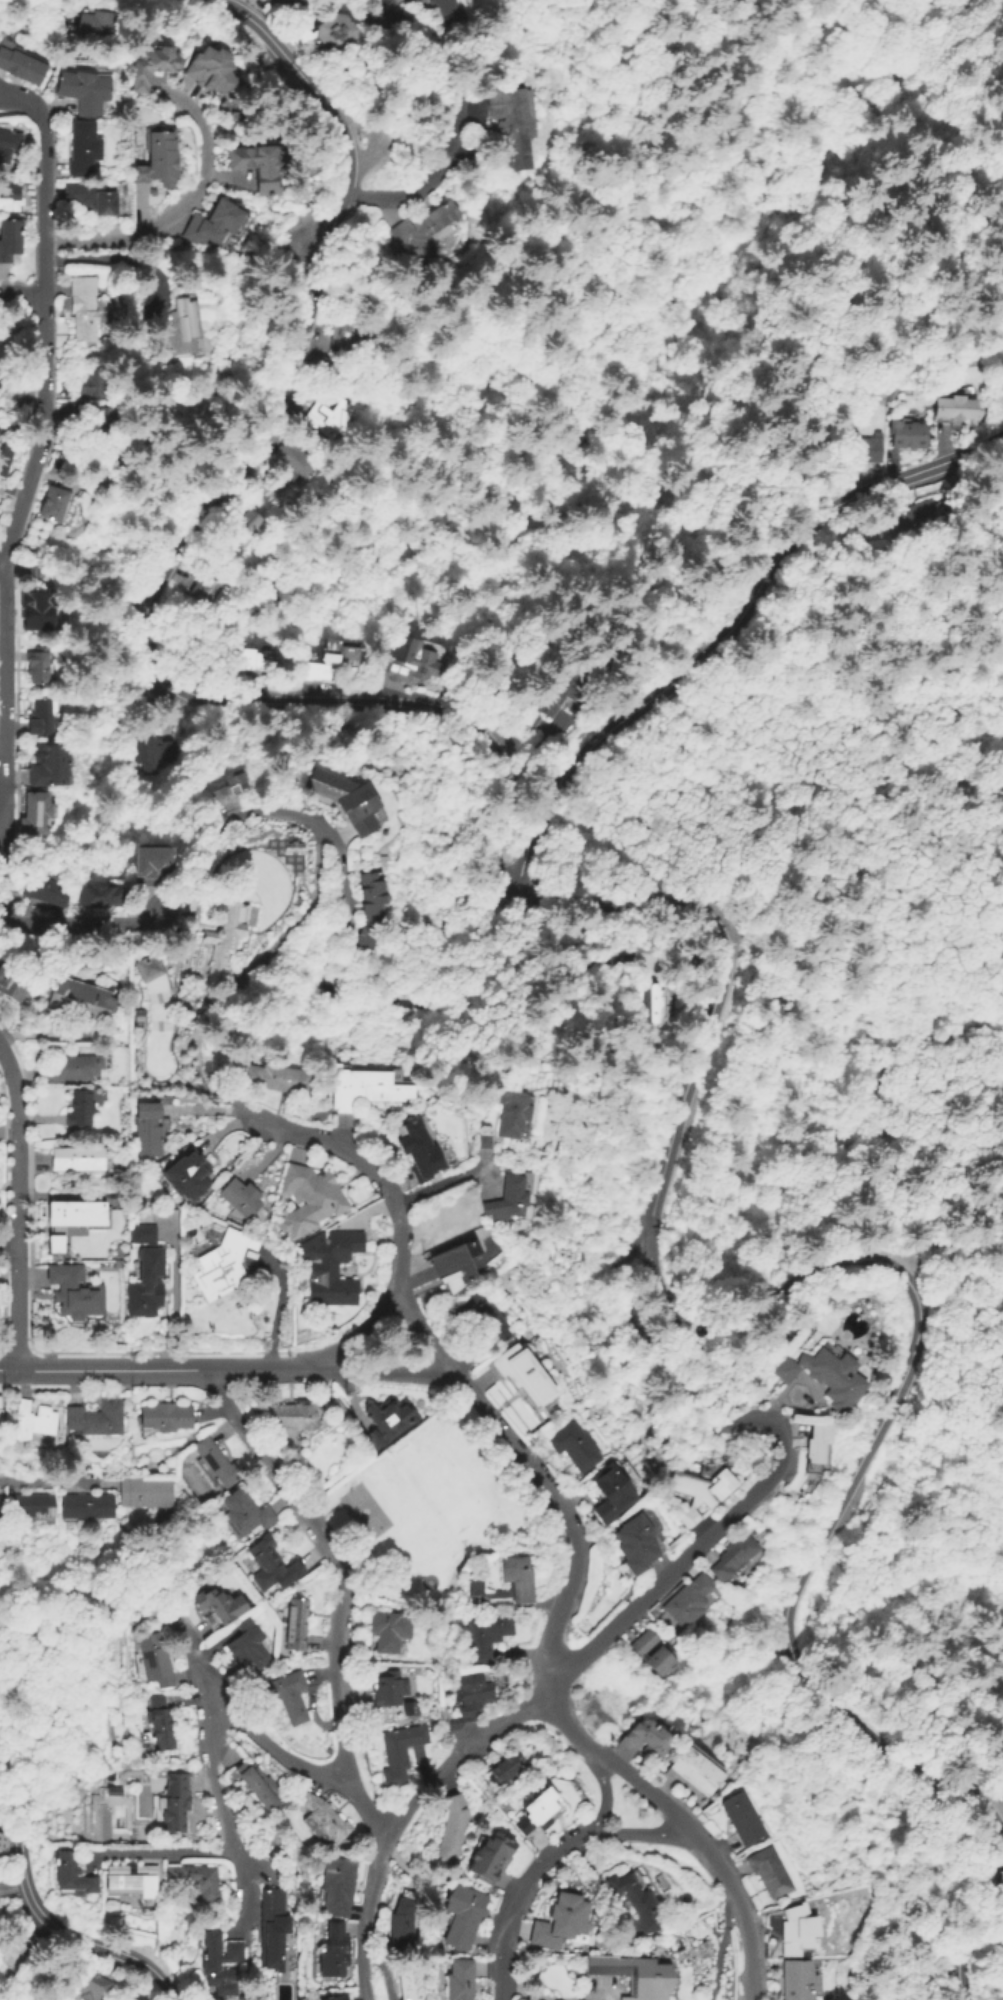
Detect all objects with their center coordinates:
building: (263, 0)
building: (411, 0)
building: (282, 5)
building: (448, 10)
road: (372, 21)
building: (89, 23)
building: (317, 32)
building: (143, 64)
building: (17, 66)
building: (200, 71)
road: (304, 81)
building: (79, 90)
road: (26, 99)
building: (511, 126)
road: (455, 128)
building: (10, 140)
road: (45, 147)
building: (79, 147)
building: (160, 156)
building: (263, 158)
building: (7, 193)
building: (91, 195)
road: (184, 206)
building: (218, 219)
building: (422, 231)
road: (45, 236)
building: (9, 239)
road: (22, 291)
building: (82, 305)
building: (181, 328)
building: (349, 334)
road: (619, 335)
building: (320, 360)
building: (88, 383)
building: (22, 397)
building: (951, 405)
building: (67, 411)
building: (324, 414)
building: (101, 415)
road: (44, 429)
building: (904, 433)
building: (863, 448)
building: (4, 458)
building: (297, 461)
road: (917, 472)
building: (56, 505)
building: (917, 511)
building: (250, 525)
road: (2, 558)
building: (36, 570)
building: (205, 589)
building: (40, 612)
building: (338, 653)
road: (151, 654)
building: (255, 659)
building: (412, 660)
building: (39, 664)
road: (5, 675)
building: (561, 690)
road: (665, 690)
building: (40, 715)
building: (531, 719)
building: (156, 751)
building: (50, 763)
building: (225, 786)
building: (348, 797)
building: (36, 812)
road: (336, 840)
road: (901, 857)
building: (150, 861)
building: (44, 888)
building: (101, 891)
building: (371, 907)
road: (679, 908)
building: (223, 939)
building: (148, 966)
building: (9, 985)
building: (77, 999)
building: (650, 1002)
building: (73, 1066)
building: (276, 1077)
building: (366, 1084)
building: (79, 1109)
building: (509, 1112)
building: (147, 1127)
building: (482, 1139)
road: (338, 1147)
building: (418, 1148)
building: (78, 1158)
building: (189, 1176)
road: (441, 1185)
building: (312, 1193)
building: (509, 1195)
building: (240, 1196)
road: (18, 1206)
building: (65, 1221)
road: (9, 1246)
building: (223, 1264)
building: (331, 1264)
building: (453, 1264)
building: (147, 1273)
building: (75, 1292)
building: (487, 1314)
road: (424, 1331)
road: (357, 1333)
road: (101, 1352)
road: (915, 1352)
road: (17, 1353)
road: (242, 1353)
road: (7, 1369)
road: (256, 1369)
road: (109, 1370)
road: (380, 1370)
building: (528, 1379)
building: (830, 1379)
road: (164, 1386)
road: (206, 1386)
road: (66, 1389)
building: (302, 1412)
building: (166, 1417)
building: (388, 1417)
building: (96, 1418)
building: (33, 1419)
building: (574, 1444)
building: (819, 1450)
road: (783, 1459)
building: (219, 1462)
road: (43, 1480)
park: (431, 1488)
building: (612, 1492)
building: (146, 1494)
building: (703, 1495)
building: (1, 1504)
building: (32, 1504)
building: (89, 1505)
park: (430, 1509)
building: (245, 1511)
park: (365, 1511)
road: (562, 1519)
building: (639, 1547)
building: (738, 1559)
building: (267, 1567)
building: (520, 1583)
road: (343, 1587)
building: (692, 1602)
building: (219, 1604)
building: (296, 1621)
building: (387, 1633)
building: (482, 1635)
building: (247, 1649)
building: (657, 1656)
building: (152, 1662)
road: (200, 1666)
building: (387, 1692)
building: (289, 1697)
building: (471, 1701)
building: (409, 1709)
building: (162, 1722)
building: (651, 1738)
road: (275, 1750)
building: (398, 1751)
building: (507, 1770)
building: (699, 1770)
building: (252, 1787)
road: (606, 1798)
building: (174, 1802)
building: (538, 1810)
road: (221, 1815)
road: (400, 1819)
building: (744, 1819)
building: (324, 1820)
road: (683, 1826)
building: (452, 1827)
road: (638, 1832)
road: (23, 1843)
building: (4, 1847)
road: (169, 1853)
building: (492, 1856)
building: (70, 1873)
building: (770, 1873)
building: (129, 1878)
building: (196, 1881)
building: (335, 1884)
road: (515, 1900)
building: (633, 1902)
building: (464, 1916)
building: (562, 1922)
building: (401, 1923)
building: (274, 1928)
building: (802, 1931)
road: (976, 1933)
building: (332, 1950)
building: (15, 1957)
building: (222, 1962)
building: (634, 1975)
building: (463, 1978)
building: (799, 1980)
road: (920, 1982)
building: (410, 1983)
building: (88, 1986)
road: (522, 1993)
road: (606, 1994)
building: (334, 1997)

